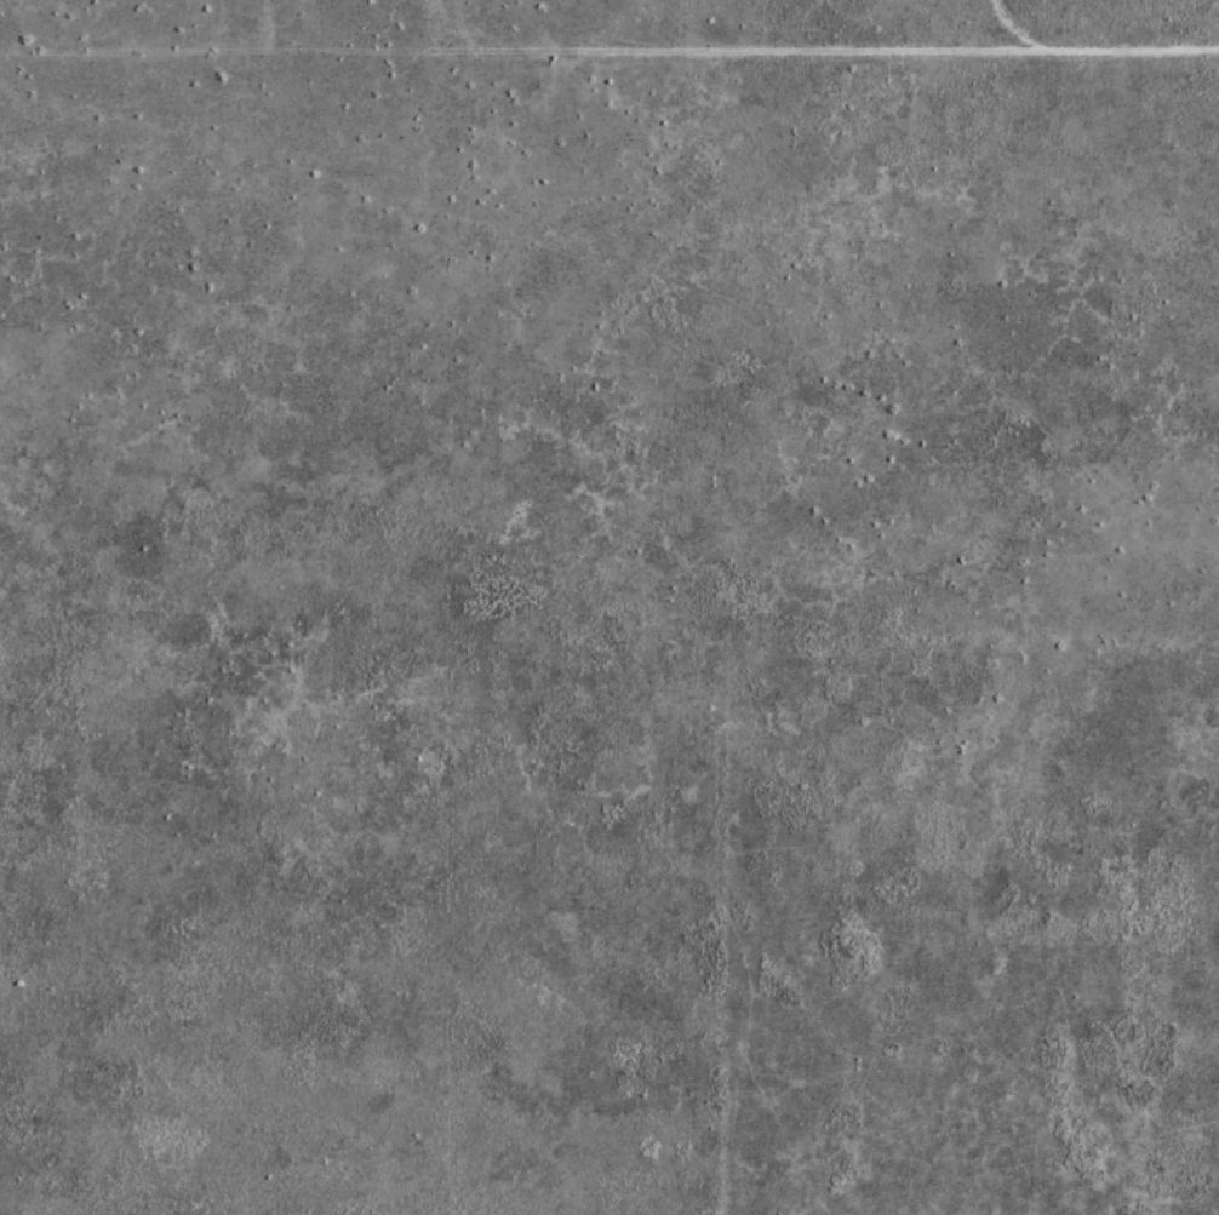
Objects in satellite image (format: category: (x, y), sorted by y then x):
road: (982, 2)
road: (733, 7)

